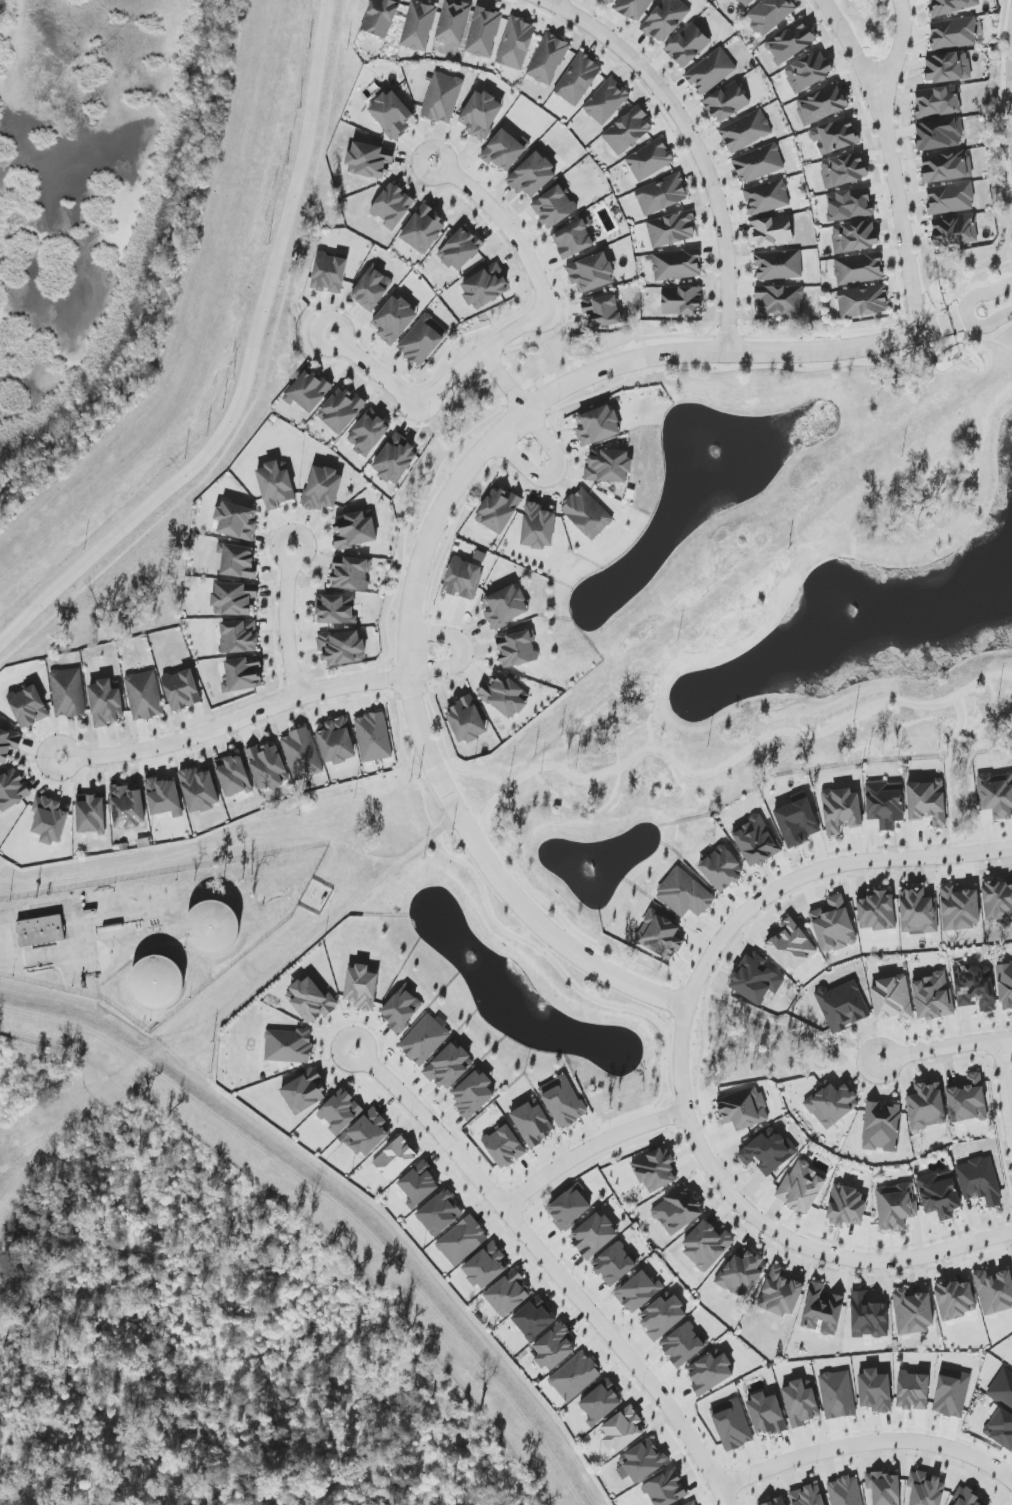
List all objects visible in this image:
building: (608, 1)
road: (554, 2)
building: (744, 2)
building: (950, 6)
building: (633, 8)
building: (770, 15)
building: (381, 17)
building: (665, 19)
building: (453, 22)
building: (418, 26)
building: (483, 32)
building: (953, 33)
building: (791, 41)
building: (516, 44)
building: (687, 46)
road: (900, 46)
building: (548, 59)
building: (947, 67)
building: (808, 71)
building: (710, 72)
building: (578, 79)
building: (442, 98)
building: (938, 101)
building: (606, 102)
building: (727, 102)
building: (821, 104)
building: (392, 114)
building: (480, 114)
building: (627, 131)
building: (746, 131)
building: (939, 134)
building: (834, 136)
road: (696, 144)
building: (505, 150)
road: (892, 158)
building: (369, 160)
building: (649, 160)
building: (758, 164)
building: (946, 166)
building: (843, 170)
building: (533, 175)
building: (661, 195)
building: (766, 197)
building: (950, 198)
building: (849, 205)
building: (392, 206)
building: (555, 206)
road: (509, 224)
building: (423, 229)
building: (671, 229)
building: (772, 231)
building: (955, 231)
building: (854, 236)
building: (574, 239)
building: (460, 249)
building: (677, 265)
building: (778, 265)
building: (858, 269)
building: (591, 273)
building: (329, 274)
building: (485, 287)
building: (371, 289)
road: (982, 294)
building: (780, 300)
building: (681, 301)
building: (862, 301)
building: (603, 312)
building: (394, 320)
road: (957, 320)
road: (987, 322)
road: (986, 339)
building: (422, 340)
road: (482, 354)
road: (743, 368)
road: (248, 369)
road: (380, 371)
road: (263, 381)
road: (507, 381)
building: (307, 391)
building: (341, 410)
building: (597, 426)
building: (368, 433)
fountain: (710, 455)
building: (395, 459)
building: (608, 466)
road: (555, 474)
building: (275, 484)
building: (323, 489)
building: (498, 511)
building: (587, 514)
building: (236, 521)
building: (538, 527)
building: (355, 530)
road: (430, 534)
building: (238, 561)
building: (351, 574)
building: (463, 579)
building: (234, 599)
building: (505, 607)
building: (336, 609)
fountain: (855, 613)
road: (287, 621)
building: (238, 637)
building: (342, 647)
building: (517, 649)
road: (464, 651)
building: (243, 674)
building: (181, 690)
building: (68, 693)
building: (144, 695)
building: (505, 695)
building: (28, 706)
building: (466, 720)
road: (236, 721)
building: (373, 737)
building: (337, 742)
building: (8, 745)
road: (446, 747)
building: (301, 754)
building: (268, 766)
road: (613, 771)
building: (233, 776)
road: (952, 776)
building: (12, 790)
building: (199, 790)
building: (996, 795)
building: (164, 797)
building: (927, 802)
building: (885, 804)
building: (128, 806)
building: (841, 810)
building: (91, 814)
building: (50, 820)
building: (797, 823)
building: (756, 842)
building: (721, 868)
fountain: (588, 871)
building: (685, 894)
building: (998, 900)
building: (959, 908)
building: (876, 912)
building: (918, 912)
building: (833, 925)
building: (214, 928)
wastewater plant: (214, 928)
building: (46, 929)
building: (661, 935)
road: (316, 936)
building: (791, 946)
road: (153, 947)
fountain: (470, 959)
building: (756, 979)
road: (101, 982)
building: (158, 982)
wastewater plant: (157, 983)
building: (1005, 983)
building: (361, 987)
building: (975, 988)
building: (932, 996)
building: (892, 998)
building: (312, 1000)
building: (842, 1006)
building: (402, 1008)
road: (787, 1025)
building: (424, 1040)
building: (288, 1046)
road: (946, 1047)
road: (681, 1062)
building: (449, 1066)
road: (1005, 1086)
building: (304, 1092)
building: (473, 1094)
building: (966, 1099)
building: (563, 1101)
building: (832, 1105)
building: (927, 1106)
building: (743, 1109)
building: (340, 1111)
building: (532, 1123)
building: (881, 1127)
building: (369, 1132)
building: (504, 1146)
road: (591, 1150)
building: (768, 1151)
building: (395, 1158)
building: (656, 1170)
building: (979, 1181)
building: (420, 1184)
building: (802, 1187)
building: (939, 1195)
building: (895, 1206)
building: (569, 1207)
building: (846, 1207)
building: (677, 1210)
building: (439, 1213)
building: (594, 1235)
building: (462, 1240)
building: (706, 1246)
building: (614, 1263)
road: (554, 1266)
building: (486, 1267)
building: (742, 1274)
building: (638, 1291)
building: (994, 1291)
building: (781, 1293)
building: (507, 1294)
building: (955, 1299)
building: (822, 1310)
building: (913, 1312)
building: (662, 1317)
building: (868, 1317)
building: (534, 1318)
building: (683, 1345)
building: (554, 1347)
building: (710, 1372)
building: (575, 1376)
building: (1002, 1388)
building: (913, 1390)
building: (874, 1391)
building: (951, 1393)
building: (837, 1395)
building: (601, 1402)
building: (800, 1402)
building: (765, 1414)
building: (732, 1425)
building: (1002, 1429)
building: (623, 1430)
road: (865, 1442)
building: (645, 1461)
building: (884, 1488)
building: (665, 1489)
building: (925, 1489)
building: (845, 1491)
building: (807, 1496)
building: (968, 1498)
building: (776, 1502)
building: (693, 1504)

